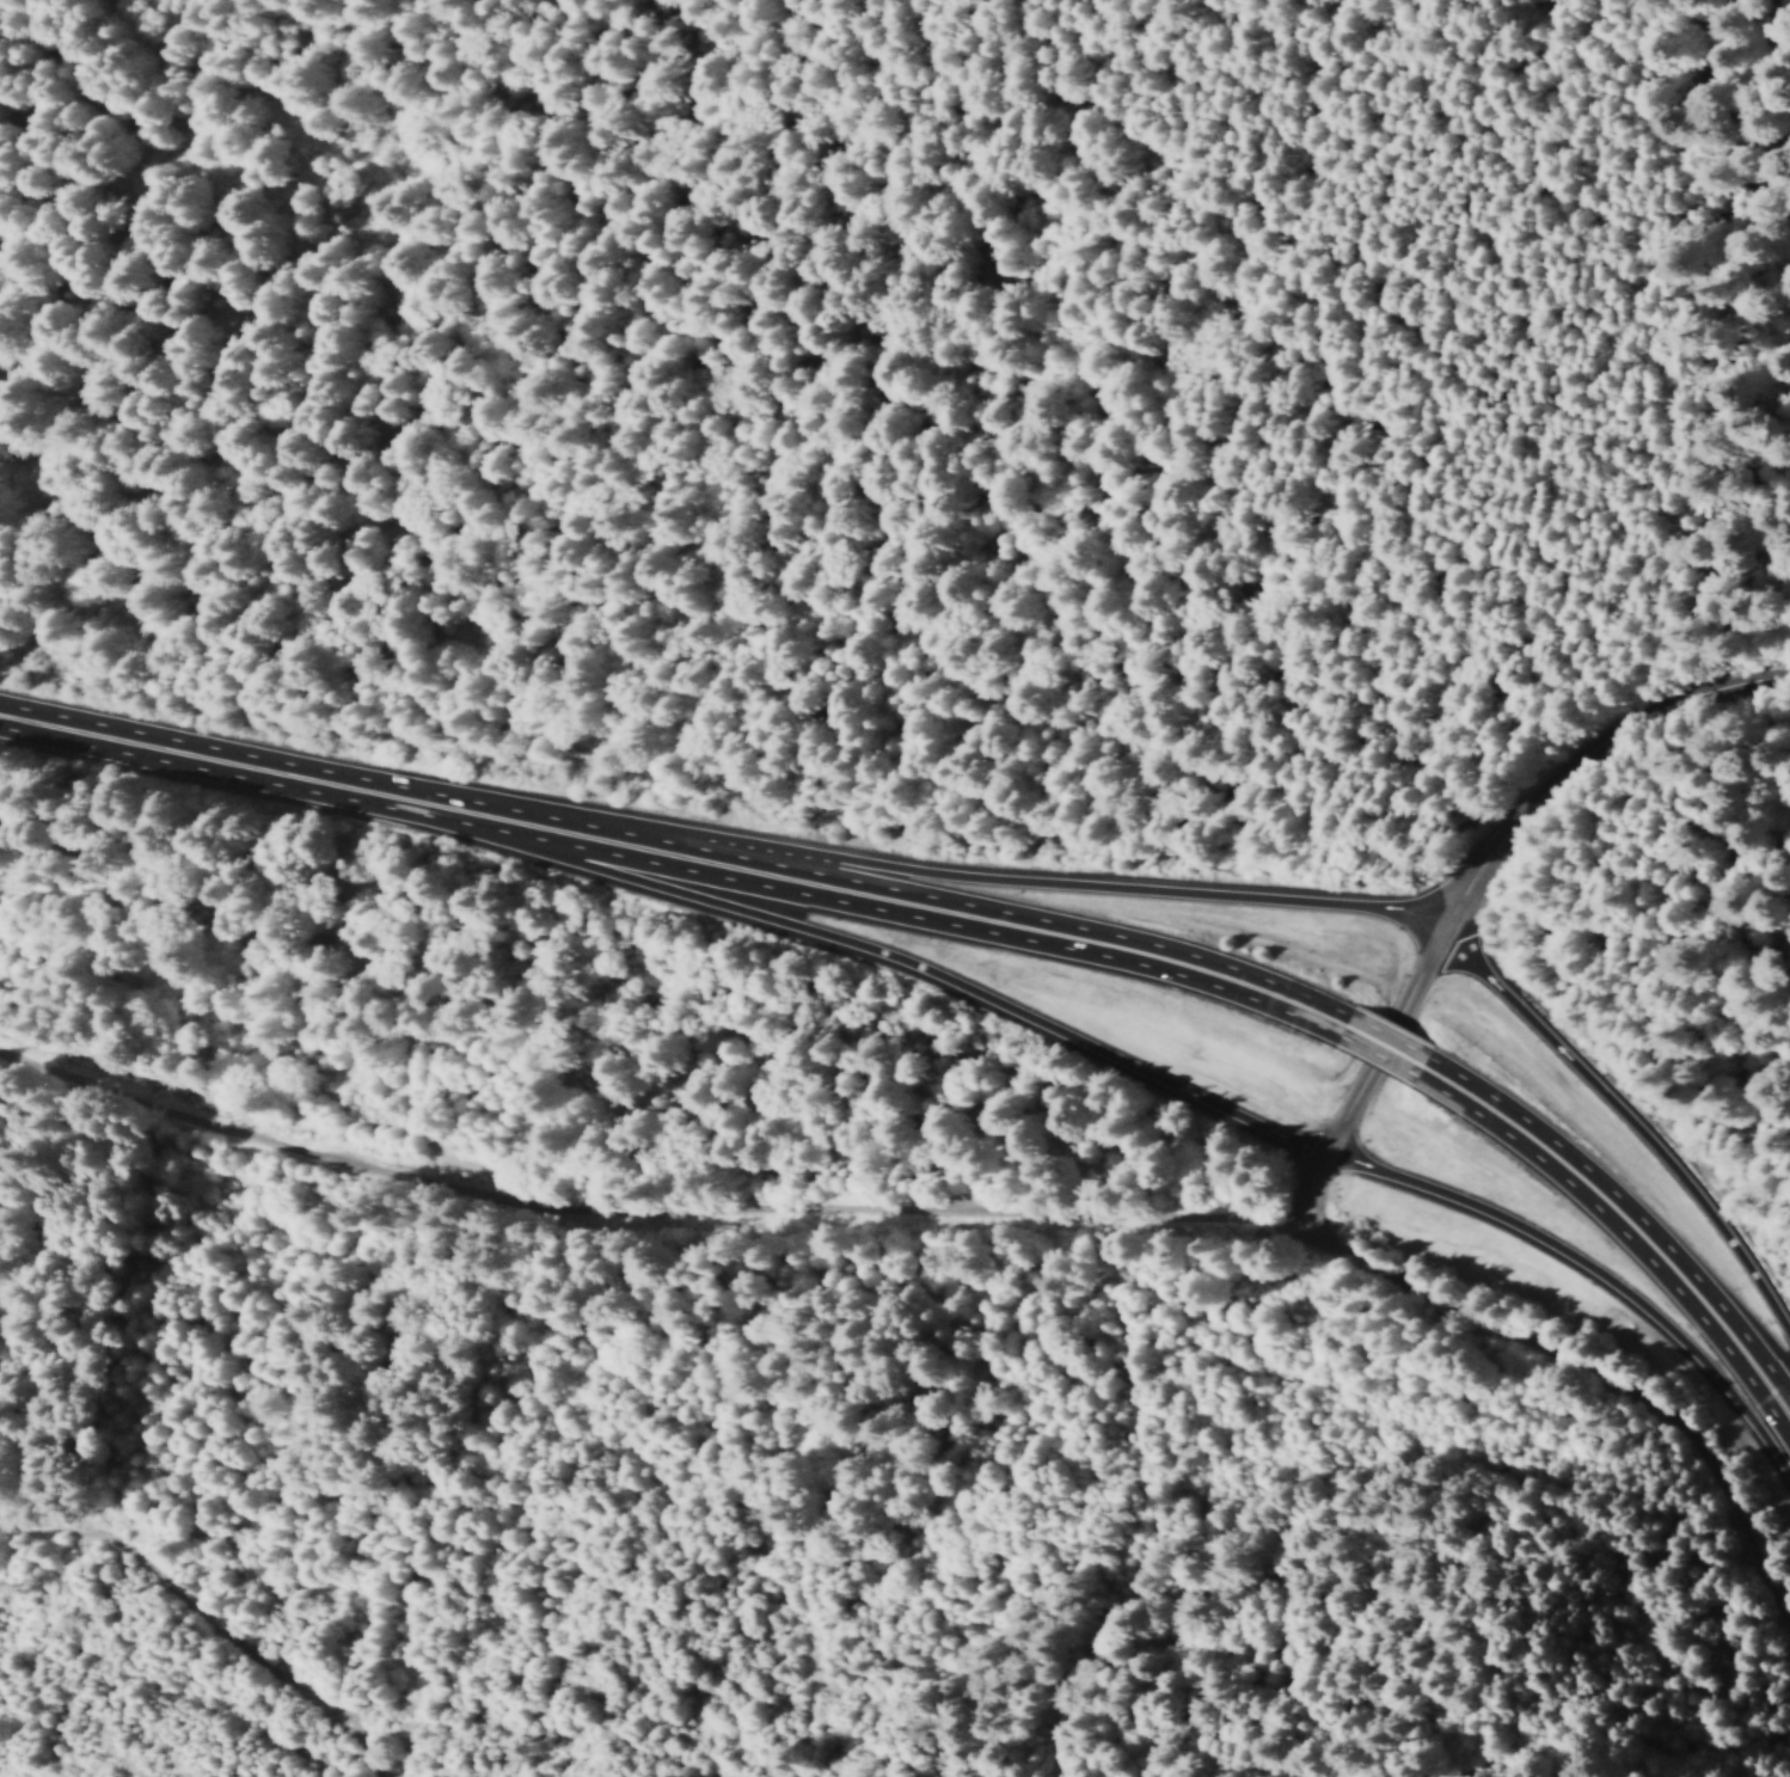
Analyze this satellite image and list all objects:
road: (160, 748)
road: (418, 801)
road: (1490, 827)
road: (590, 834)
road: (1050, 884)
road: (1006, 917)
road: (924, 974)
road: (1377, 1041)
road: (1626, 1119)
road: (1296, 1184)
road: (968, 1209)
road: (1624, 1213)
road: (1588, 1279)
park: (1383, 1765)

